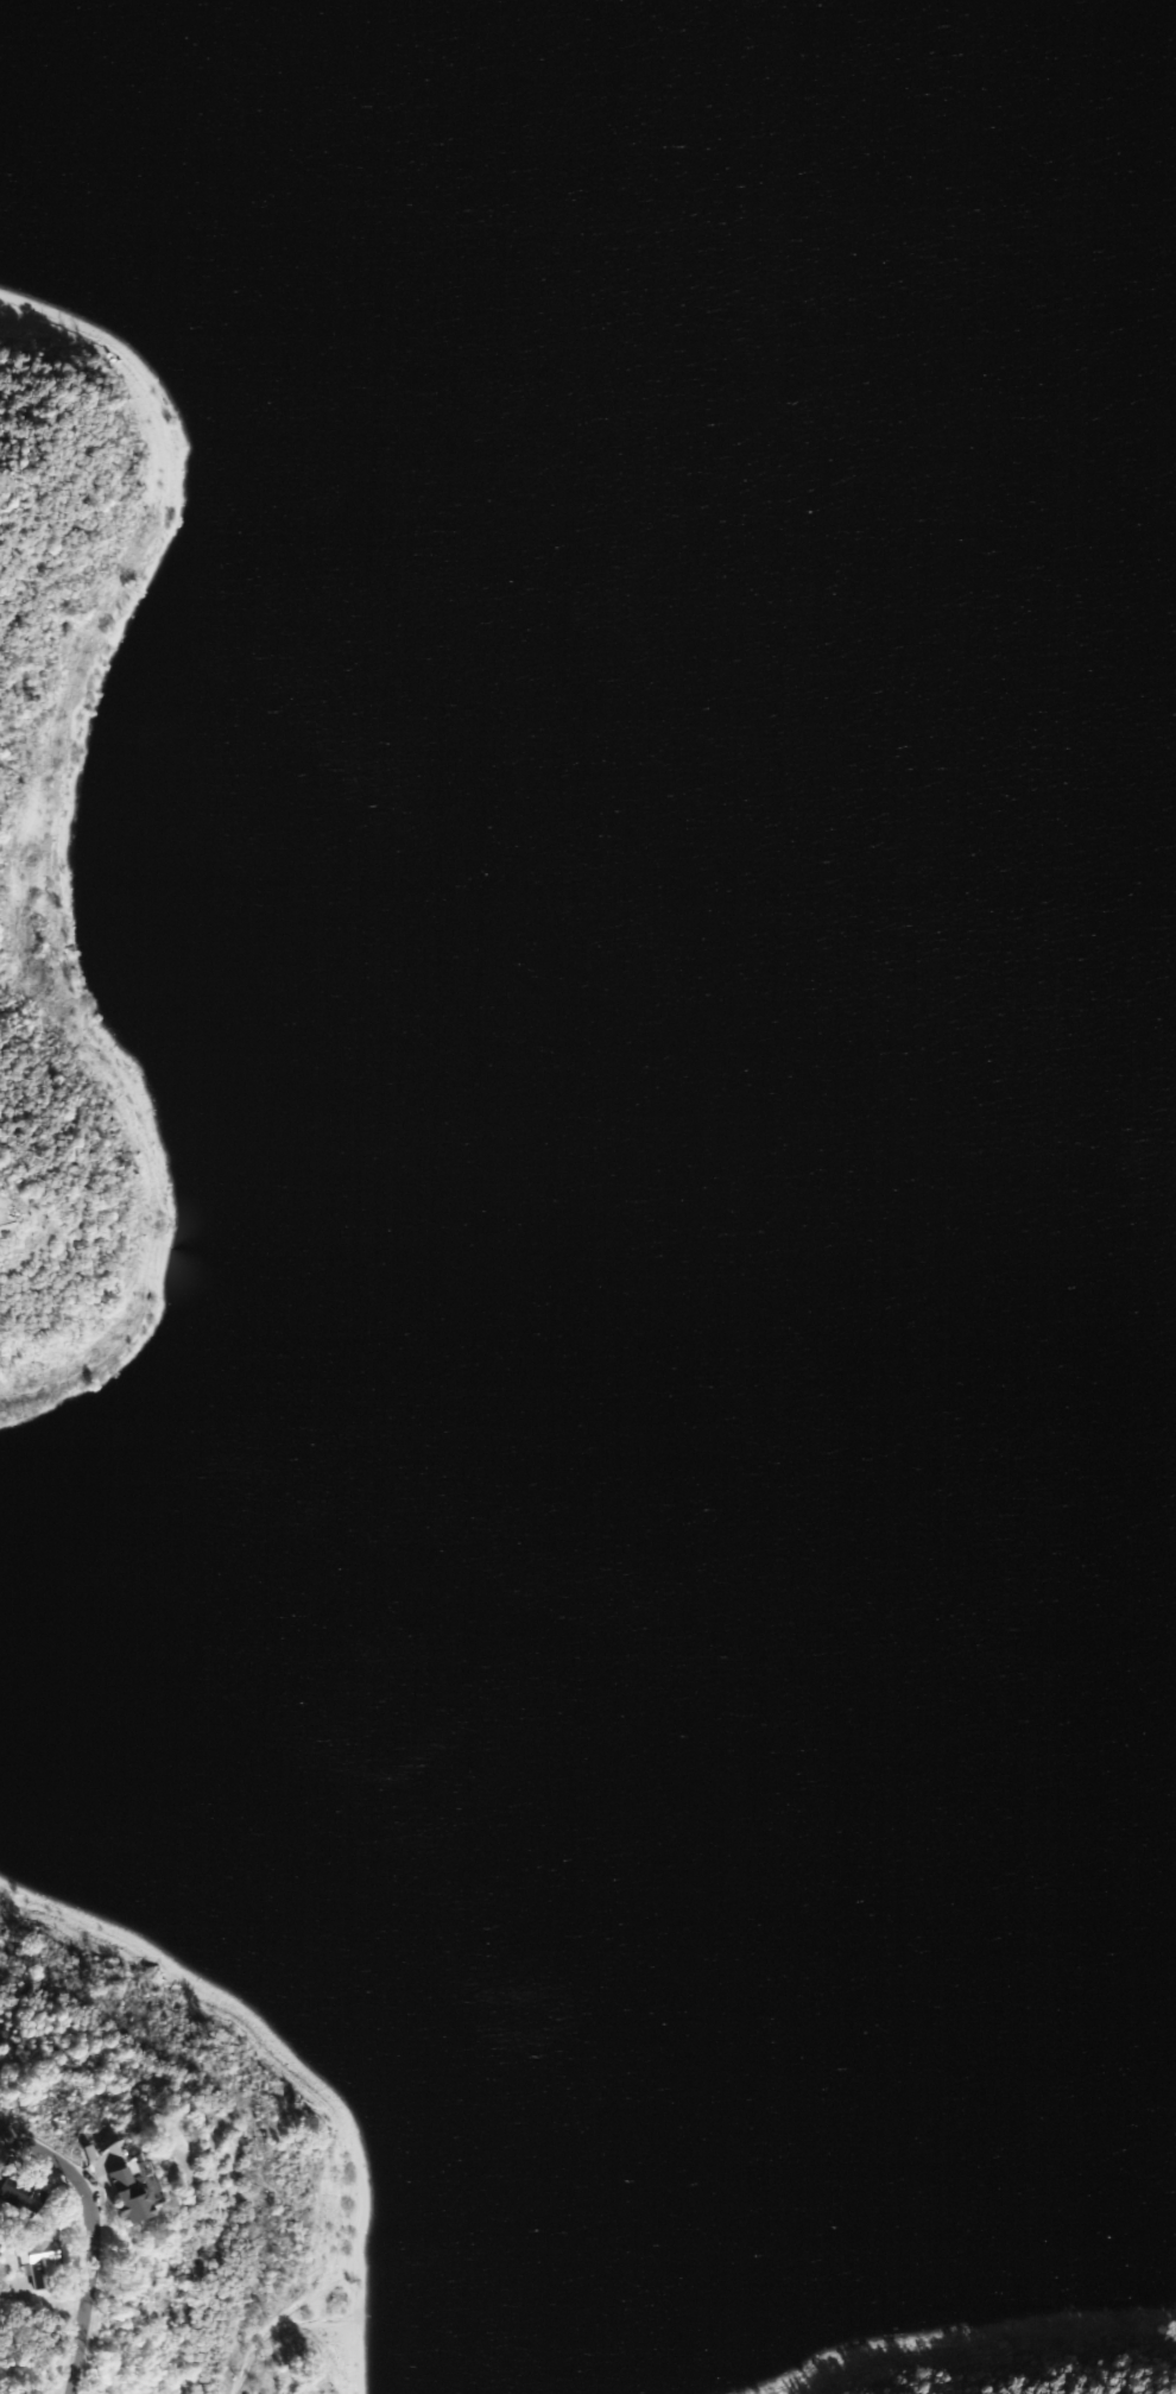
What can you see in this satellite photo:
building: (27, 2191)
building: (140, 2191)
road: (94, 2240)
building: (44, 2259)
building: (12, 2393)

